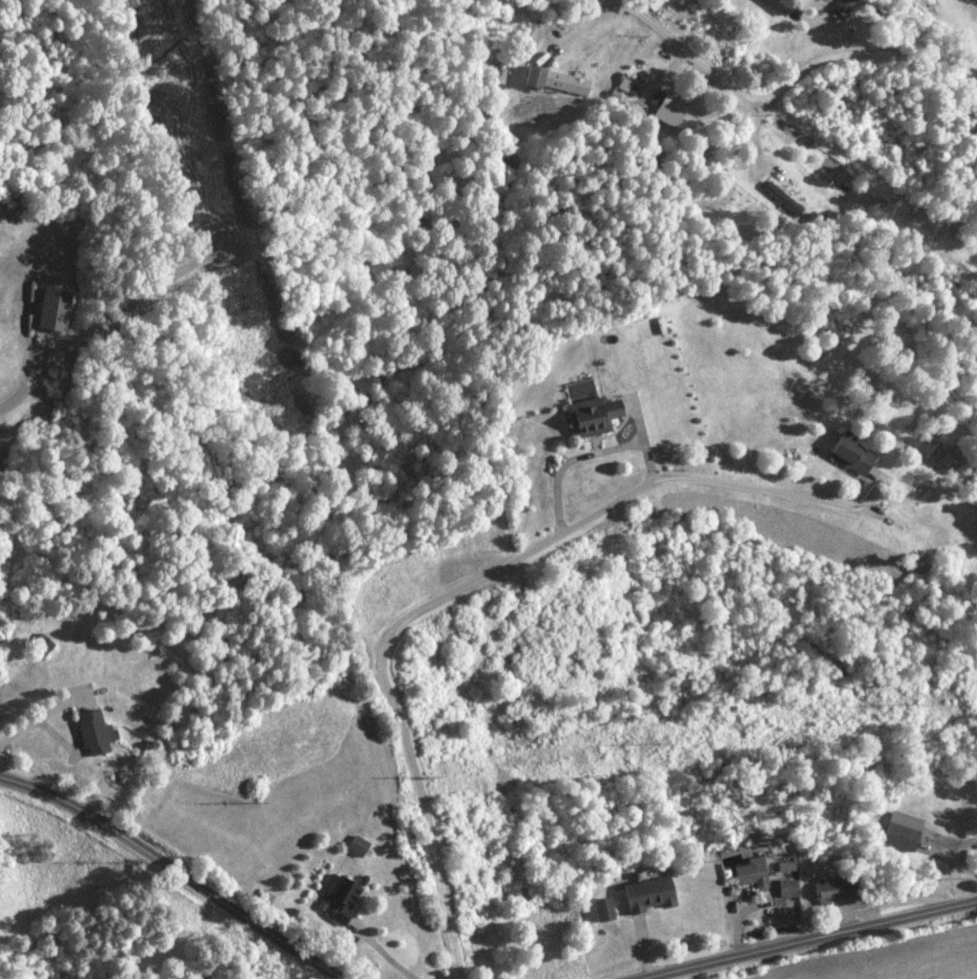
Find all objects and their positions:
building: (653, 4)
building: (780, 7)
road: (643, 13)
road: (806, 66)
building: (56, 310)
building: (597, 415)
road: (466, 582)
building: (43, 646)
building: (98, 734)
road: (173, 874)
building: (755, 874)
building: (790, 889)
building: (840, 889)
building: (652, 896)
building: (606, 910)
road: (807, 937)

